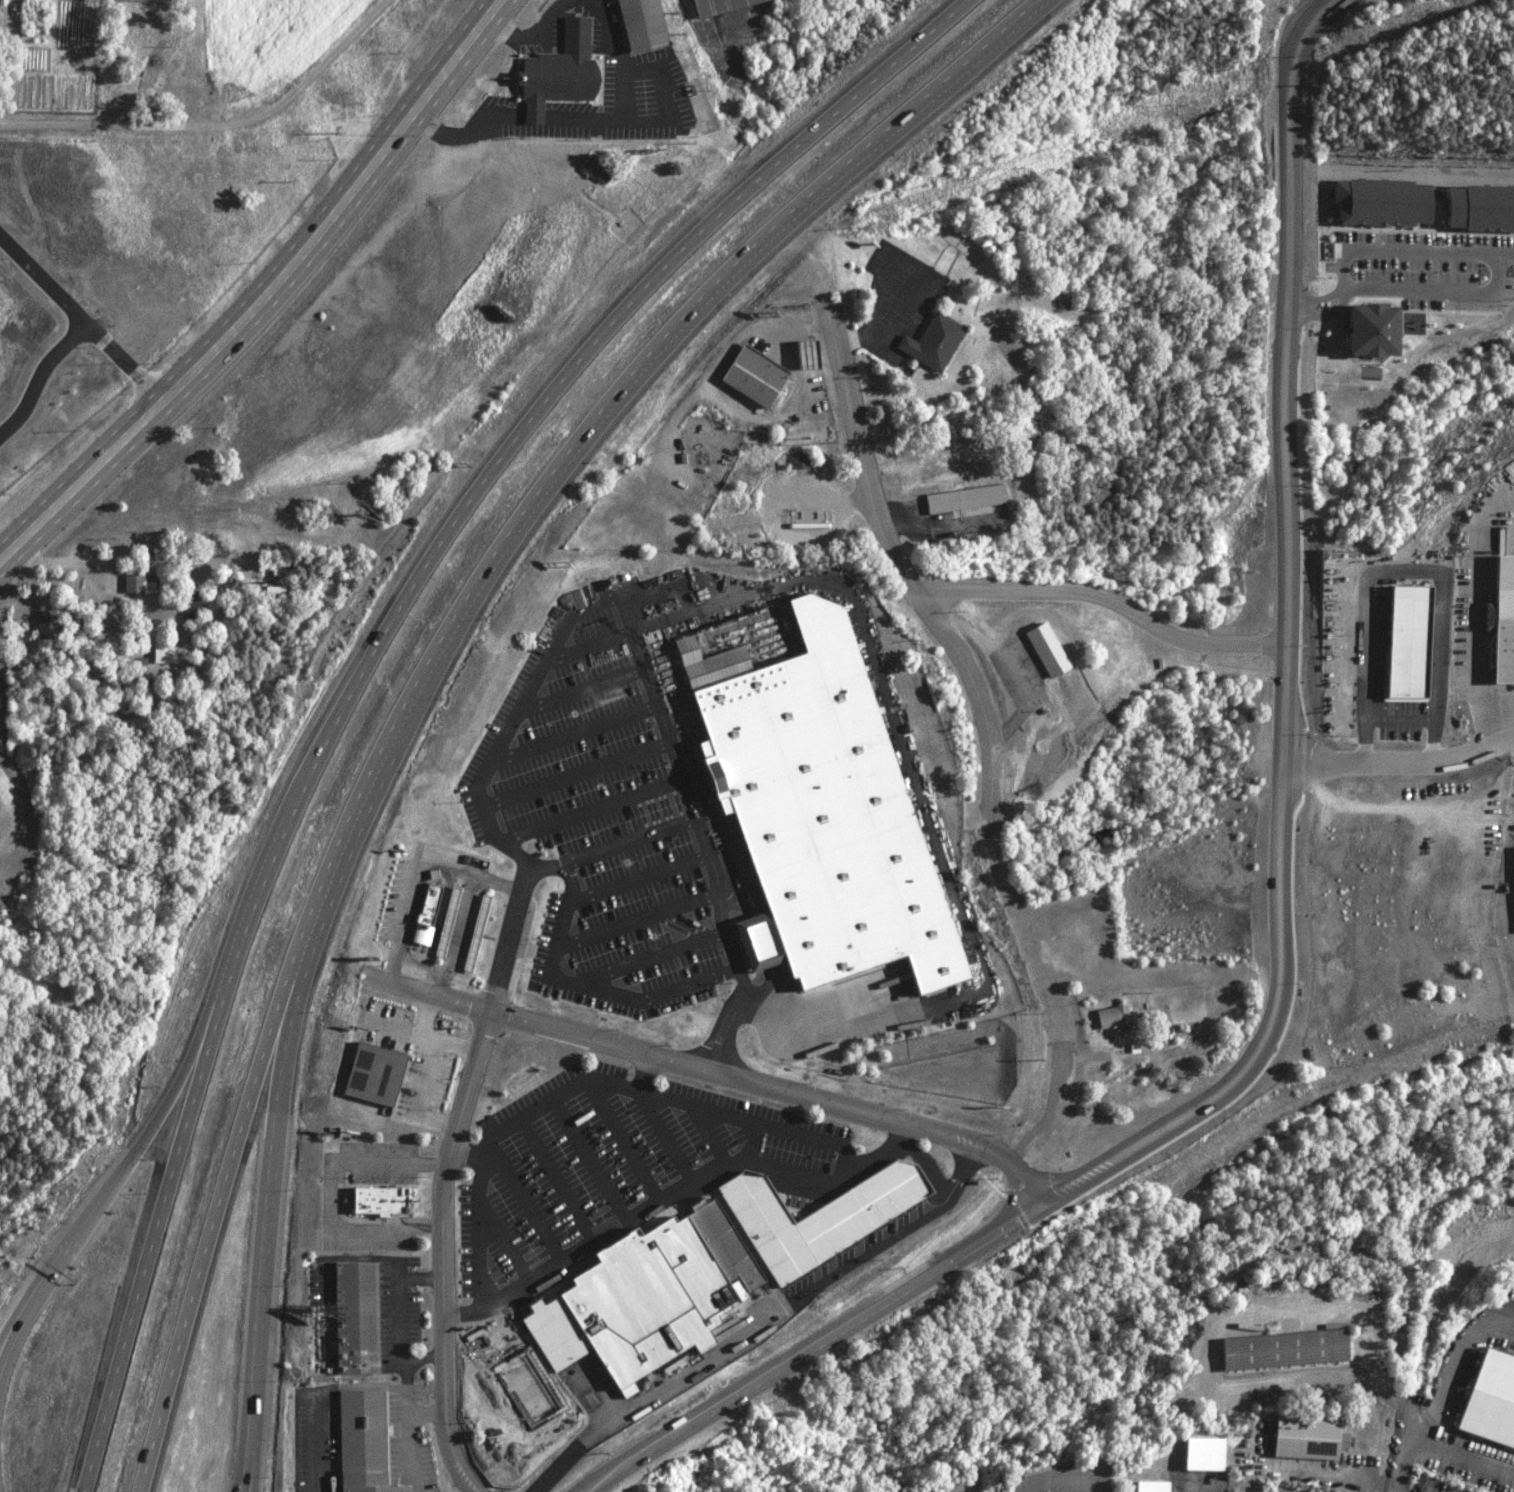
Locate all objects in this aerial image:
building: (714, 6)
building: (637, 24)
building: (555, 71)
building: (594, 168)
building: (1379, 201)
building: (1478, 207)
road: (268, 293)
building: (1365, 328)
building: (931, 342)
building: (751, 376)
road: (865, 453)
building: (797, 460)
building: (965, 498)
road: (119, 565)
building: (137, 583)
road: (1110, 600)
building: (189, 606)
building: (1503, 618)
building: (44, 623)
building: (1406, 641)
building: (1043, 649)
road: (368, 653)
building: (163, 654)
road: (442, 655)
road: (517, 725)
road: (1401, 764)
building: (815, 798)
parking lot: (596, 824)
road: (704, 834)
road: (616, 848)
road: (638, 878)
building: (423, 914)
road: (636, 921)
road: (1287, 925)
road: (511, 938)
road: (647, 958)
road: (409, 984)
road: (587, 987)
building: (1111, 1017)
road: (645, 1073)
building: (370, 1074)
road: (759, 1083)
road: (750, 1122)
road: (146, 1138)
road: (492, 1143)
parking lot: (605, 1162)
road: (696, 1184)
building: (377, 1201)
road: (271, 1207)
road: (441, 1249)
building: (703, 1275)
road: (44, 1293)
road: (463, 1316)
building: (355, 1318)
road: (403, 1320)
building: (1280, 1350)
road: (2, 1371)
road: (2, 1380)
building: (514, 1393)
building: (1489, 1401)
building: (1305, 1439)
road: (410, 1440)
building: (360, 1442)
building: (1200, 1454)
road: (1403, 1456)
road: (249, 1460)
road: (255, 1460)
building: (1147, 1487)
road: (0, 1488)
road: (1198, 1488)

